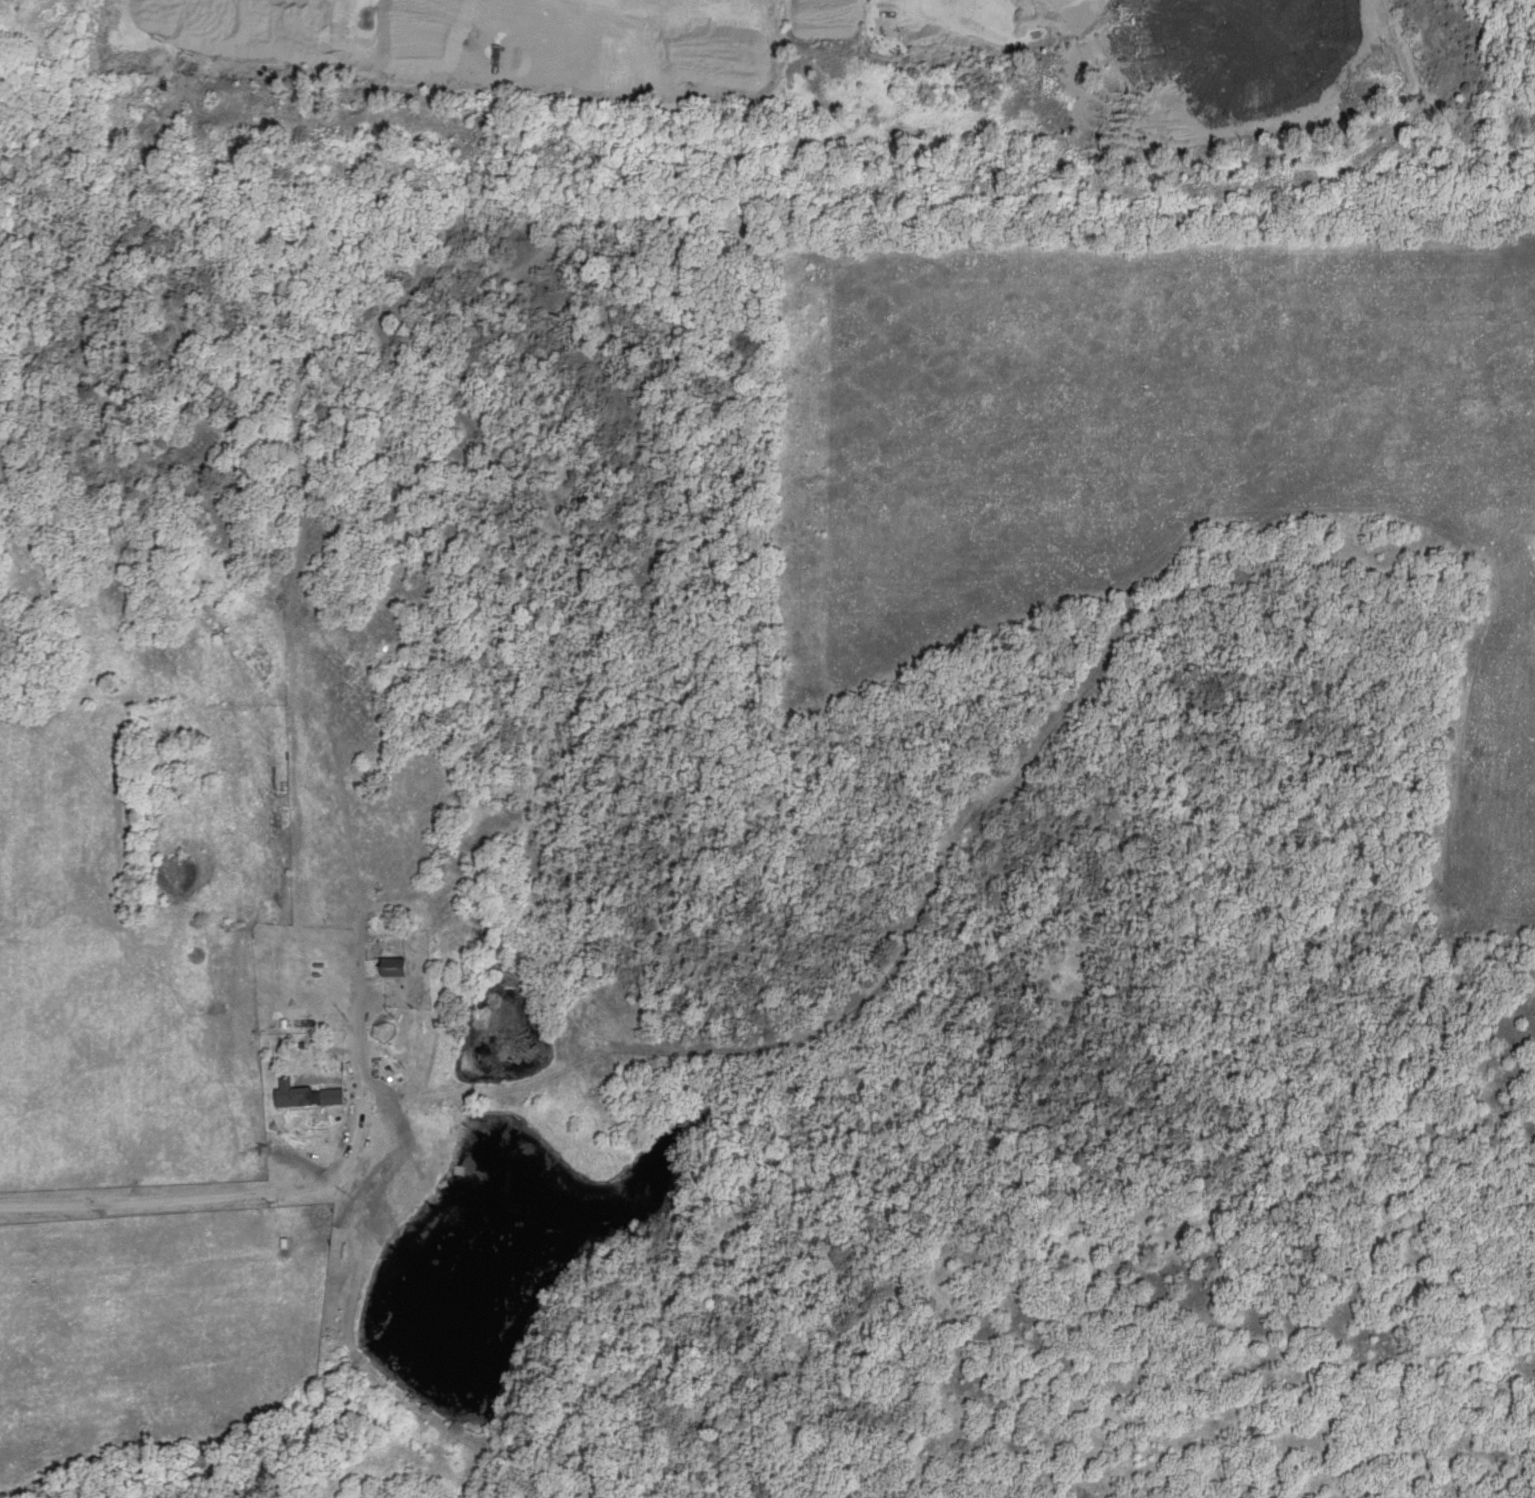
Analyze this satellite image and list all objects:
road: (283, 1200)

